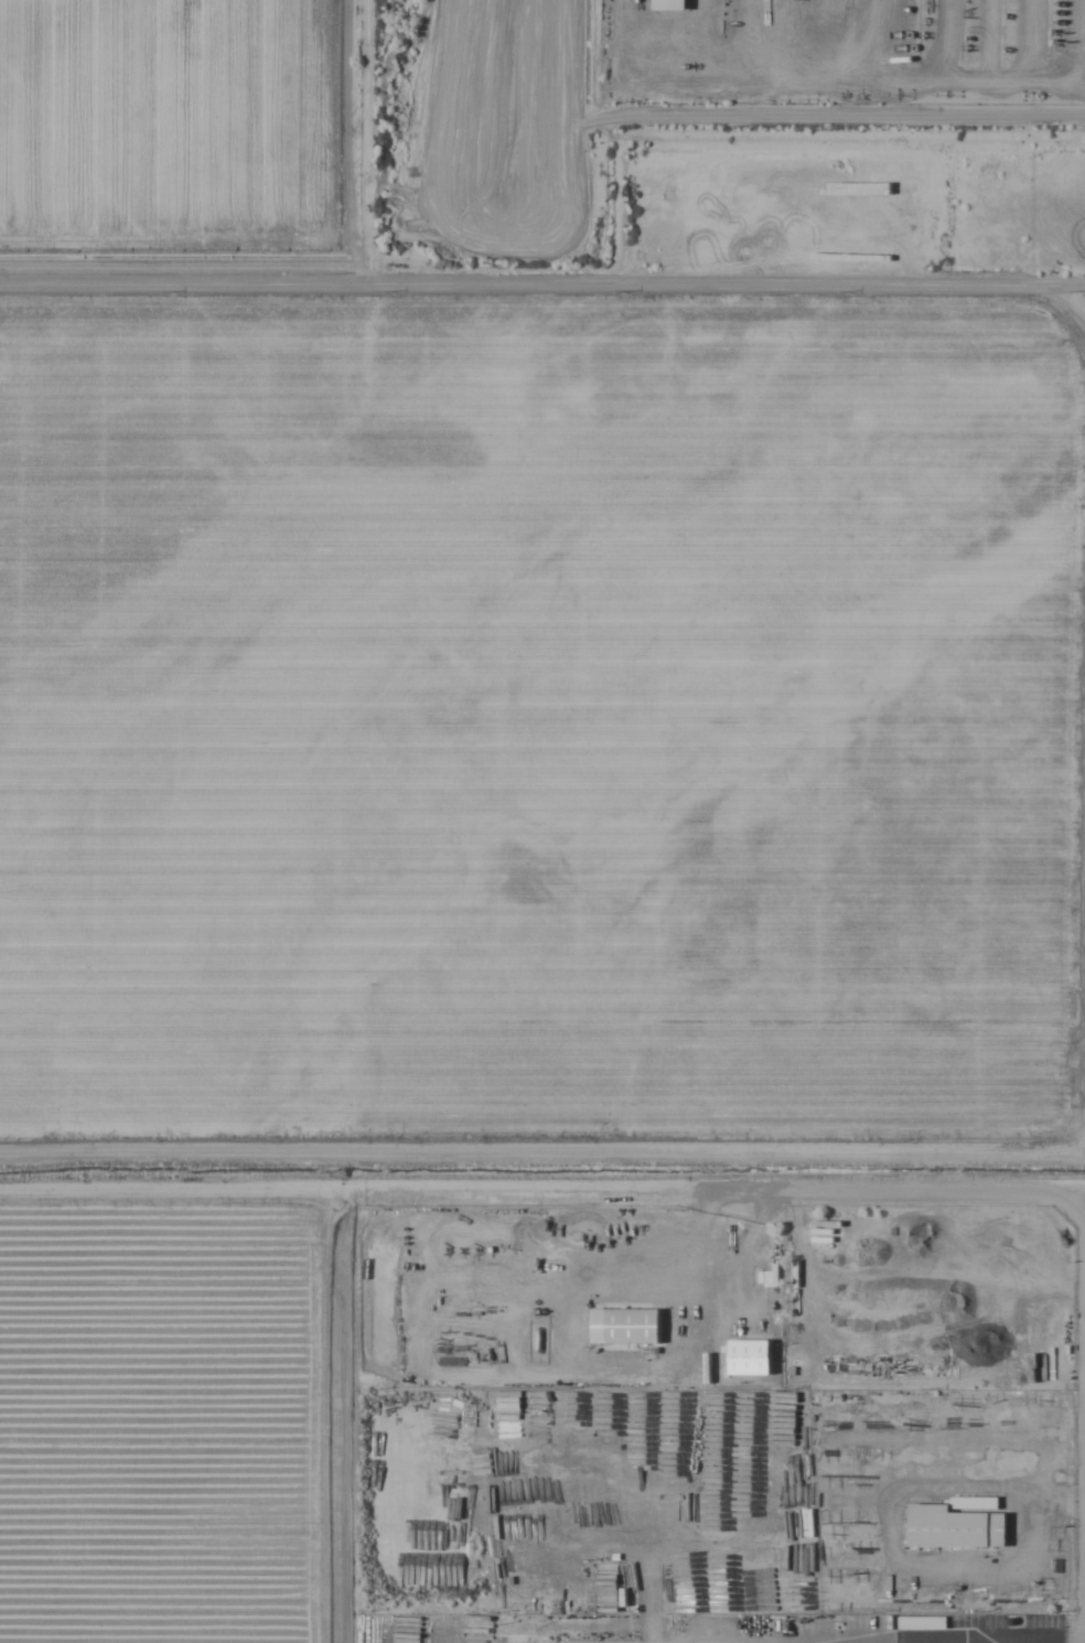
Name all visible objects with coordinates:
building: (669, 6)
road: (542, 287)
building: (625, 1325)
building: (956, 1528)

